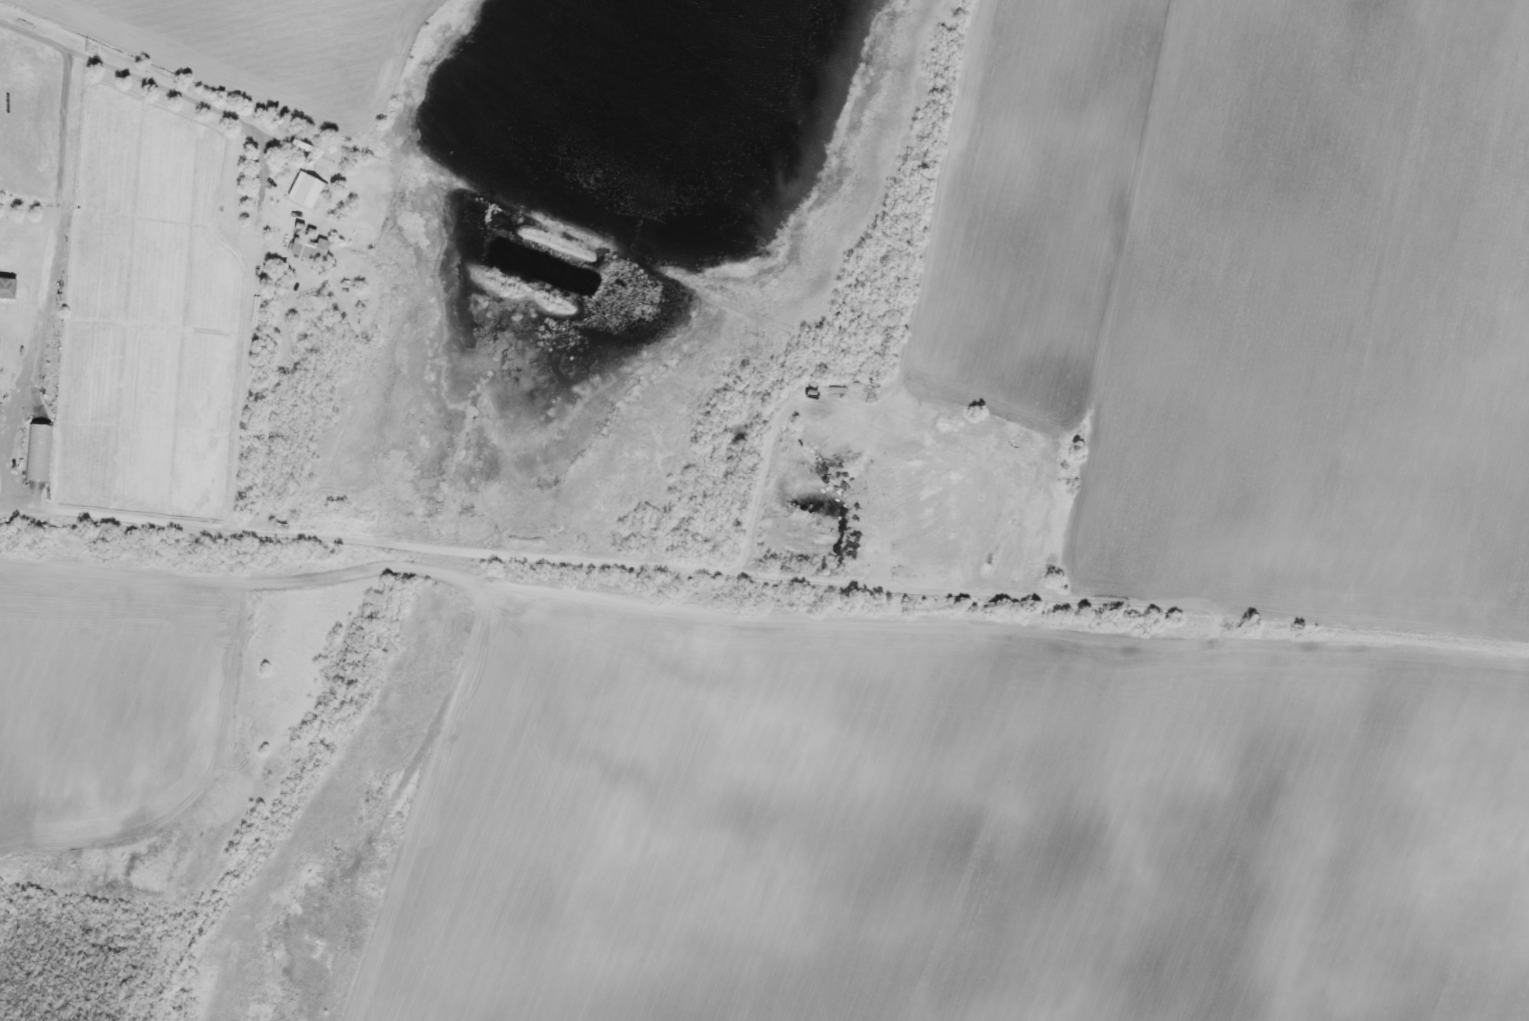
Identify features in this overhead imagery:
road: (191, 73)
river: (580, 120)
river: (633, 143)
building: (328, 153)
building: (307, 190)
river: (502, 234)
building: (302, 247)
building: (791, 745)
building: (823, 840)
building: (1528, 840)
building: (1418, 915)

